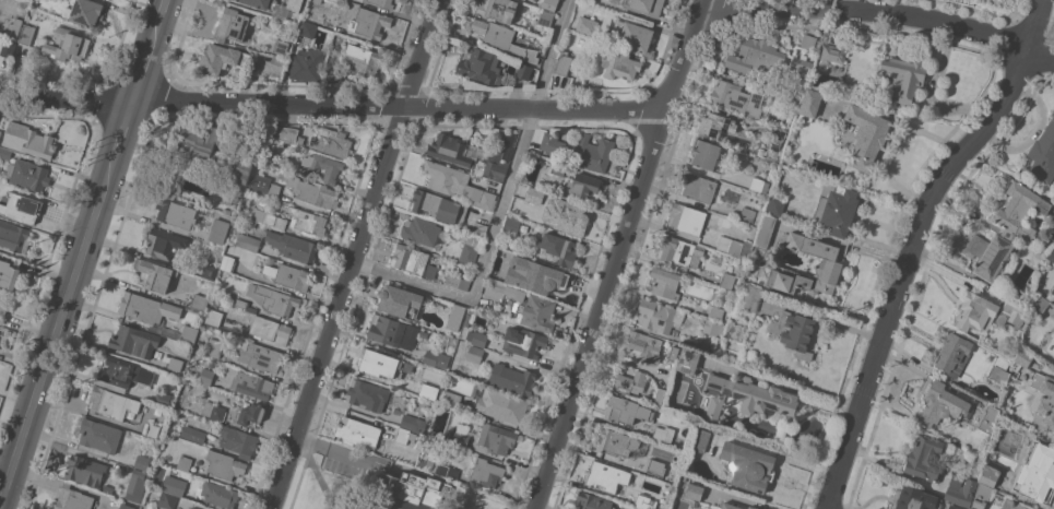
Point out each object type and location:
building: (317, 1)
building: (383, 2)
building: (258, 3)
building: (294, 4)
building: (549, 4)
building: (642, 5)
road: (762, 7)
building: (498, 9)
building: (85, 12)
building: (546, 17)
road: (161, 19)
building: (369, 22)
building: (232, 25)
building: (588, 26)
road: (955, 26)
building: (14, 27)
building: (308, 28)
building: (26, 34)
building: (630, 35)
building: (501, 38)
building: (572, 39)
building: (808, 42)
building: (68, 45)
building: (8, 46)
building: (281, 47)
building: (833, 52)
building: (756, 56)
building: (363, 58)
building: (218, 59)
building: (277, 63)
building: (308, 64)
building: (564, 64)
building: (619, 64)
building: (481, 66)
building: (801, 66)
road: (144, 70)
building: (524, 71)
building: (333, 73)
building: (905, 76)
building: (737, 97)
building: (792, 103)
building: (809, 103)
road: (332, 106)
building: (717, 125)
building: (842, 125)
building: (0, 129)
road: (123, 130)
building: (283, 132)
building: (778, 135)
building: (866, 135)
building: (27, 139)
building: (204, 139)
building: (534, 139)
building: (331, 141)
building: (552, 144)
building: (449, 149)
building: (593, 152)
building: (706, 153)
building: (1043, 155)
building: (496, 165)
building: (323, 166)
building: (559, 167)
building: (28, 174)
building: (1, 177)
building: (241, 177)
building: (457, 184)
building: (264, 185)
building: (759, 185)
building: (193, 186)
building: (698, 186)
building: (581, 187)
building: (310, 190)
building: (535, 194)
building: (438, 205)
building: (775, 205)
building: (20, 206)
building: (837, 208)
road: (502, 209)
building: (176, 213)
building: (747, 215)
building: (264, 217)
building: (687, 218)
building: (571, 220)
building: (308, 221)
building: (511, 225)
building: (479, 228)
building: (755, 229)
building: (1052, 229)
building: (218, 230)
building: (421, 230)
building: (766, 230)
building: (1007, 230)
building: (14, 236)
building: (1051, 236)
building: (248, 241)
building: (164, 242)
road: (913, 242)
building: (293, 246)
building: (735, 246)
building: (556, 250)
building: (679, 251)
road: (357, 253)
building: (469, 253)
road: (620, 253)
building: (1051, 254)
building: (410, 258)
building: (524, 262)
building: (829, 262)
building: (227, 263)
building: (430, 271)
building: (9, 272)
building: (209, 272)
building: (155, 274)
building: (287, 275)
building: (727, 280)
building: (458, 281)
building: (665, 282)
building: (550, 284)
building: (499, 289)
building: (1051, 295)
building: (751, 298)
building: (273, 299)
building: (199, 301)
building: (401, 303)
building: (1040, 303)
building: (2, 304)
building: (241, 304)
building: (147, 308)
building: (976, 310)
building: (537, 313)
building: (715, 313)
building: (1010, 313)
building: (659, 316)
building: (213, 317)
building: (455, 317)
building: (467, 319)
building: (713, 327)
road: (57, 328)
building: (271, 330)
building: (796, 331)
building: (392, 332)
building: (189, 333)
building: (423, 334)
building: (476, 338)
building: (135, 341)
building: (524, 342)
building: (642, 345)
building: (1051, 346)
building: (214, 347)
building: (674, 353)
building: (475, 354)
building: (955, 354)
building: (259, 356)
building: (1022, 357)
building: (175, 358)
building: (436, 359)
building: (688, 360)
building: (377, 362)
building: (212, 363)
building: (1053, 364)
building: (1000, 370)
building: (122, 374)
building: (206, 376)
building: (513, 378)
building: (630, 381)
building: (252, 384)
building: (422, 389)
building: (367, 394)
building: (660, 394)
building: (1043, 396)
building: (164, 398)
building: (746, 398)
building: (451, 399)
building: (186, 401)
building: (107, 402)
building: (500, 404)
building: (942, 404)
building: (464, 410)
building: (626, 410)
building: (213, 411)
building: (251, 414)
building: (988, 418)
building: (414, 422)
building: (152, 429)
building: (359, 433)
building: (193, 434)
building: (663, 434)
building: (99, 435)
building: (402, 435)
building: (497, 438)
building: (460, 439)
building: (239, 441)
building: (615, 441)
building: (702, 441)
road: (330, 449)
building: (925, 458)
building: (142, 461)
road: (5, 462)
parking lot: (348, 462)
building: (421, 462)
building: (183, 463)
building: (224, 464)
building: (429, 464)
building: (748, 465)
building: (649, 469)
building: (86, 470)
building: (446, 471)
building: (1034, 471)
building: (487, 472)
road: (320, 475)
building: (990, 475)
building: (604, 476)
building: (137, 484)
building: (175, 485)
park: (382, 485)
building: (108, 488)
building: (961, 490)
building: (406, 492)
building: (695, 492)
building: (218, 494)
building: (982, 496)
building: (73, 498)
building: (916, 499)
building: (167, 500)
road: (747, 500)
building: (592, 501)
building: (643, 502)
building: (151, 505)
building: (1012, 505)
building: (127, 506)
building: (731, 506)
building: (753, 507)
building: (954, 507)
building: (192, 508)

